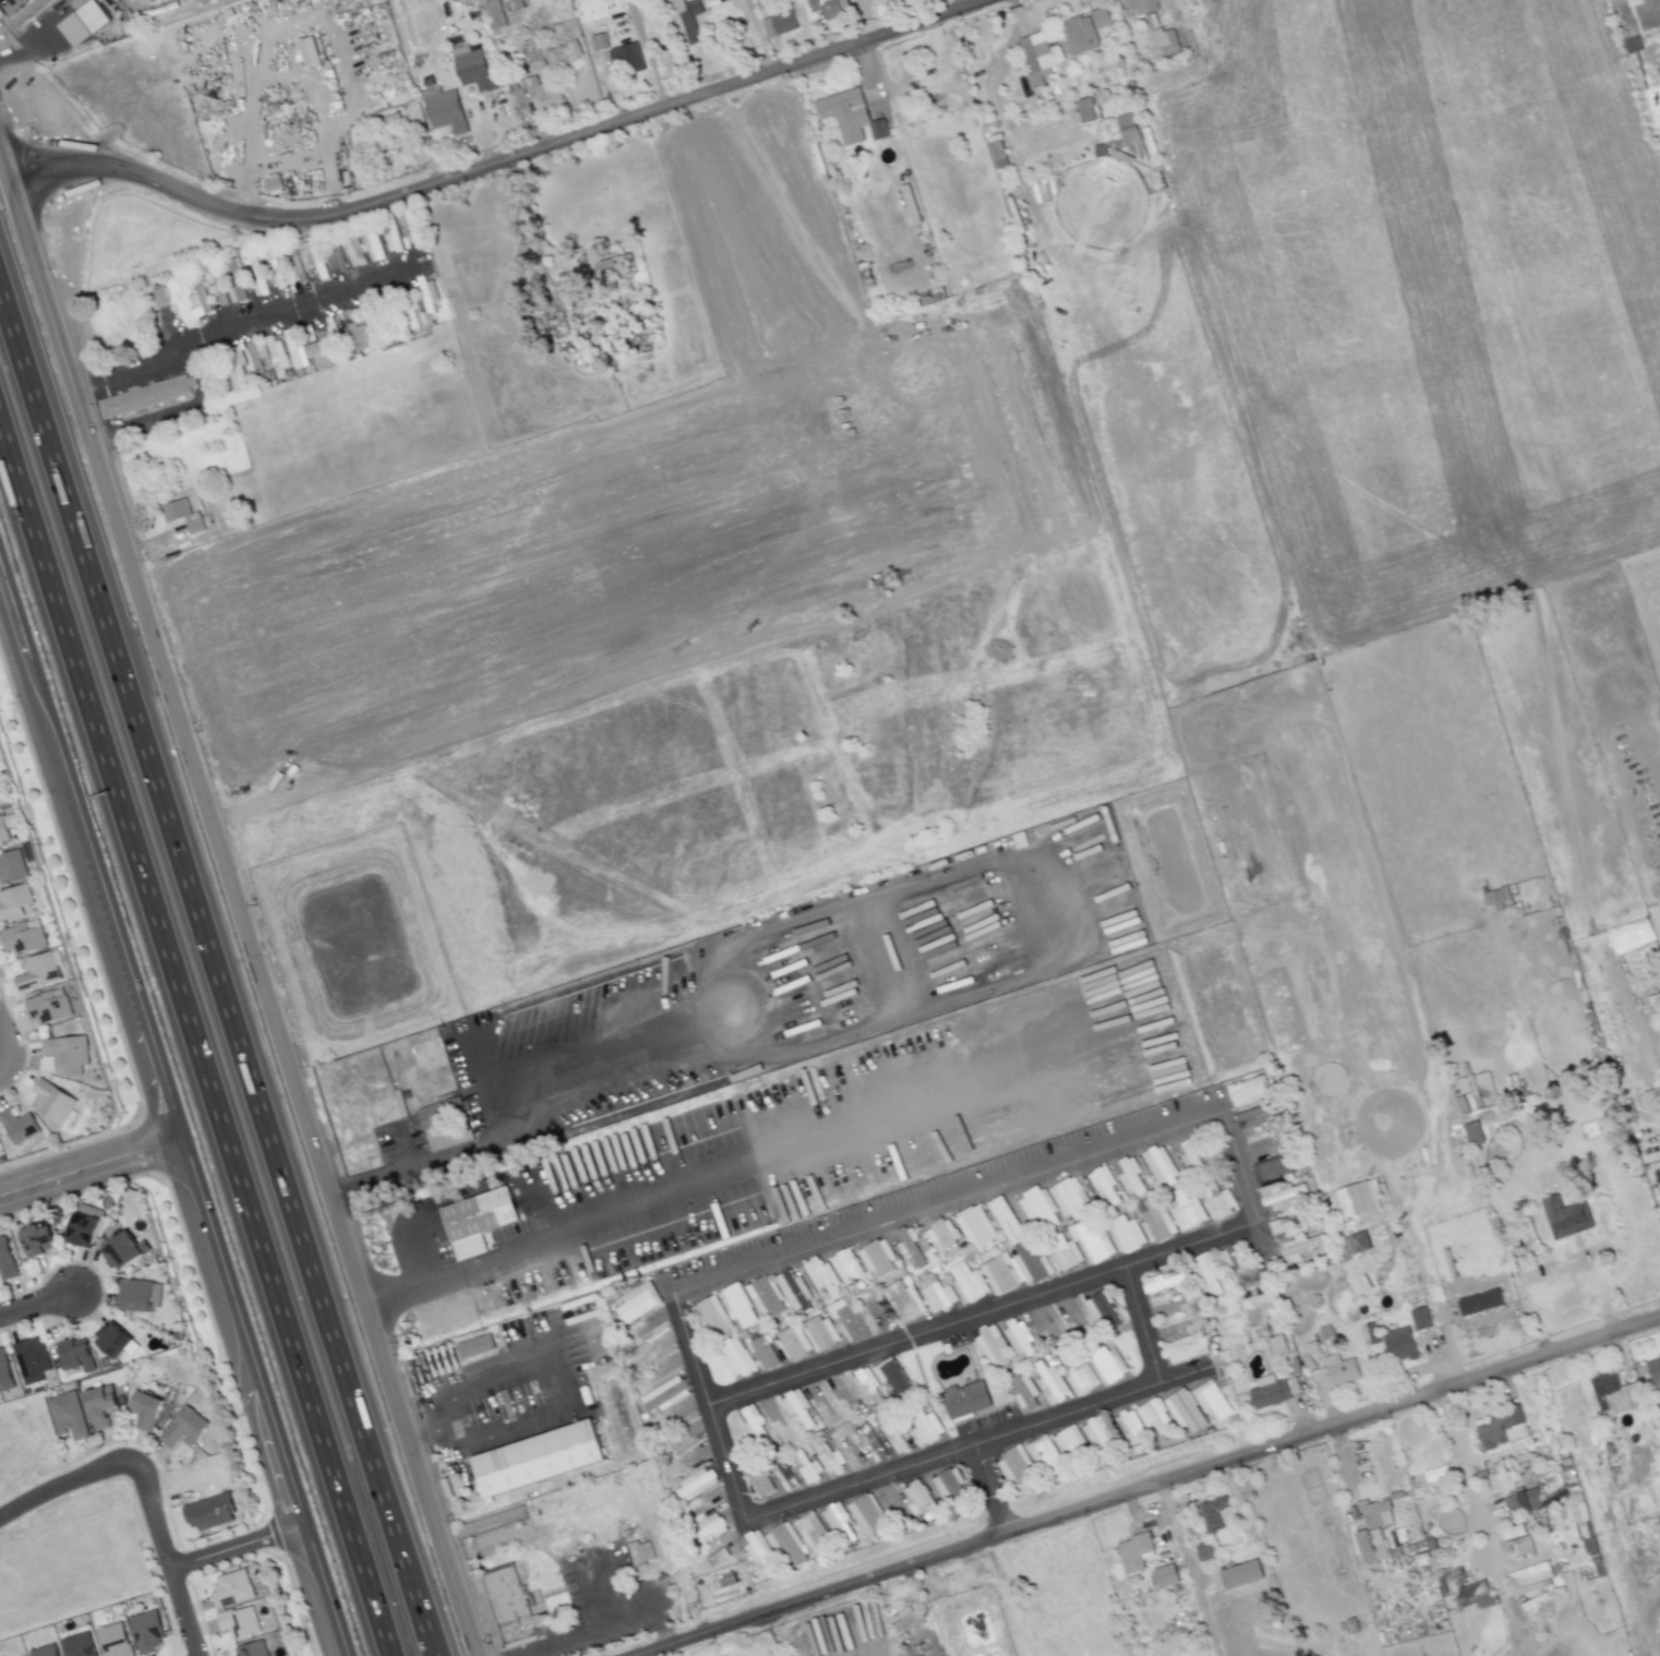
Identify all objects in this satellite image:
building: (578, 0)
building: (1144, 4)
road: (1658, 7)
building: (828, 8)
road: (856, 10)
building: (29, 12)
building: (497, 14)
building: (689, 20)
building: (83, 23)
building: (786, 23)
road: (861, 31)
building: (1084, 31)
building: (1165, 40)
building: (601, 43)
building: (308, 51)
building: (564, 52)
road: (647, 53)
building: (1035, 58)
building: (940, 60)
building: (635, 61)
building: (480, 70)
building: (1023, 85)
building: (549, 101)
building: (1084, 109)
building: (449, 112)
building: (849, 112)
building: (386, 122)
building: (1127, 129)
building: (883, 133)
building: (1099, 149)
road: (501, 161)
road: (2, 176)
building: (390, 237)
building: (374, 248)
building: (354, 251)
building: (615, 263)
building: (256, 277)
building: (612, 280)
building: (217, 288)
building: (428, 293)
building: (158, 299)
building: (199, 300)
road: (249, 328)
building: (356, 337)
building: (301, 348)
building: (276, 356)
building: (236, 368)
building: (146, 395)
building: (184, 516)
building: (1, 809)
building: (4, 829)
building: (13, 868)
building: (15, 903)
road: (240, 920)
building: (26, 939)
road: (222, 971)
building: (40, 974)
building: (1655, 1003)
building: (51, 1010)
road: (193, 1045)
road: (719, 1046)
road: (5, 1051)
building: (70, 1052)
road: (5, 1070)
building: (1250, 1090)
building: (1653, 1103)
building: (56, 1104)
building: (440, 1112)
building: (1255, 1116)
road: (169, 1120)
building: (22, 1128)
building: (1472, 1132)
road: (401, 1148)
building: (1191, 1155)
building: (1159, 1165)
road: (1240, 1166)
road: (87, 1167)
building: (1131, 1177)
road: (369, 1181)
building: (1104, 1186)
building: (1285, 1197)
building: (1070, 1198)
building: (1351, 1199)
building: (1215, 1200)
building: (1037, 1208)
building: (1184, 1210)
building: (1565, 1216)
building: (485, 1217)
building: (1005, 1219)
building: (1156, 1220)
building: (1288, 1226)
building: (975, 1227)
building: (87, 1233)
building: (941, 1234)
building: (1124, 1234)
building: (1091, 1239)
building: (41, 1243)
building: (1358, 1243)
building: (910, 1247)
building: (1300, 1247)
building: (1062, 1252)
building: (125, 1256)
building: (877, 1257)
building: (1230, 1258)
building: (9, 1262)
building: (849, 1268)
building: (1013, 1268)
building: (1206, 1275)
building: (822, 1277)
building: (966, 1283)
building: (1163, 1283)
building: (794, 1292)
building: (937, 1295)
building: (763, 1297)
building: (140, 1298)
building: (905, 1300)
road: (35, 1303)
building: (637, 1303)
building: (1479, 1303)
building: (737, 1305)
building: (1095, 1306)
building: (711, 1316)
building: (1419, 1318)
road: (1142, 1325)
building: (819, 1332)
building: (1018, 1337)
building: (1331, 1340)
building: (794, 1342)
building: (117, 1344)
building: (1399, 1345)
building: (474, 1346)
building: (1184, 1347)
building: (993, 1348)
building: (1280, 1349)
building: (765, 1353)
building: (735, 1356)
building: (77, 1360)
building: (1659, 1360)
building: (34, 1363)
building: (1093, 1368)
building: (7, 1373)
building: (890, 1375)
building: (1337, 1375)
building: (1050, 1383)
building: (866, 1385)
building: (1024, 1390)
building: (1617, 1391)
building: (664, 1394)
building: (1278, 1394)
road: (574, 1396)
building: (965, 1399)
building: (1211, 1399)
building: (99, 1405)
building: (797, 1406)
building: (144, 1409)
building: (1184, 1411)
building: (67, 1415)
building: (1154, 1416)
building: (753, 1423)
building: (925, 1427)
building: (1130, 1427)
building: (183, 1428)
building: (1506, 1429)
building: (1096, 1433)
building: (1069, 1442)
building: (1045, 1456)
building: (828, 1457)
building: (544, 1463)
building: (1014, 1464)
building: (783, 1474)
building: (1435, 1474)
building: (758, 1480)
building: (696, 1484)
road: (858, 1485)
building: (949, 1485)
road: (63, 1487)
road: (1151, 1487)
road: (991, 1490)
building: (922, 1500)
building: (1520, 1502)
building: (1576, 1508)
building: (209, 1512)
building: (1215, 1513)
building: (867, 1516)
building: (839, 1524)
building: (710, 1526)
building: (1376, 1527)
building: (1584, 1529)
building: (811, 1533)
building: (1517, 1541)
road: (231, 1544)
building: (787, 1545)
building: (1208, 1549)
building: (758, 1550)
building: (1132, 1552)
road: (160, 1558)
road: (1187, 1570)
building: (1246, 1574)
building: (1529, 1574)
building: (1165, 1575)
building: (231, 1588)
building: (1472, 1595)
building: (507, 1605)
building: (238, 1622)
building: (145, 1631)
road: (586, 1634)
building: (113, 1640)
building: (77, 1645)
building: (251, 1649)
building: (45, 1651)

